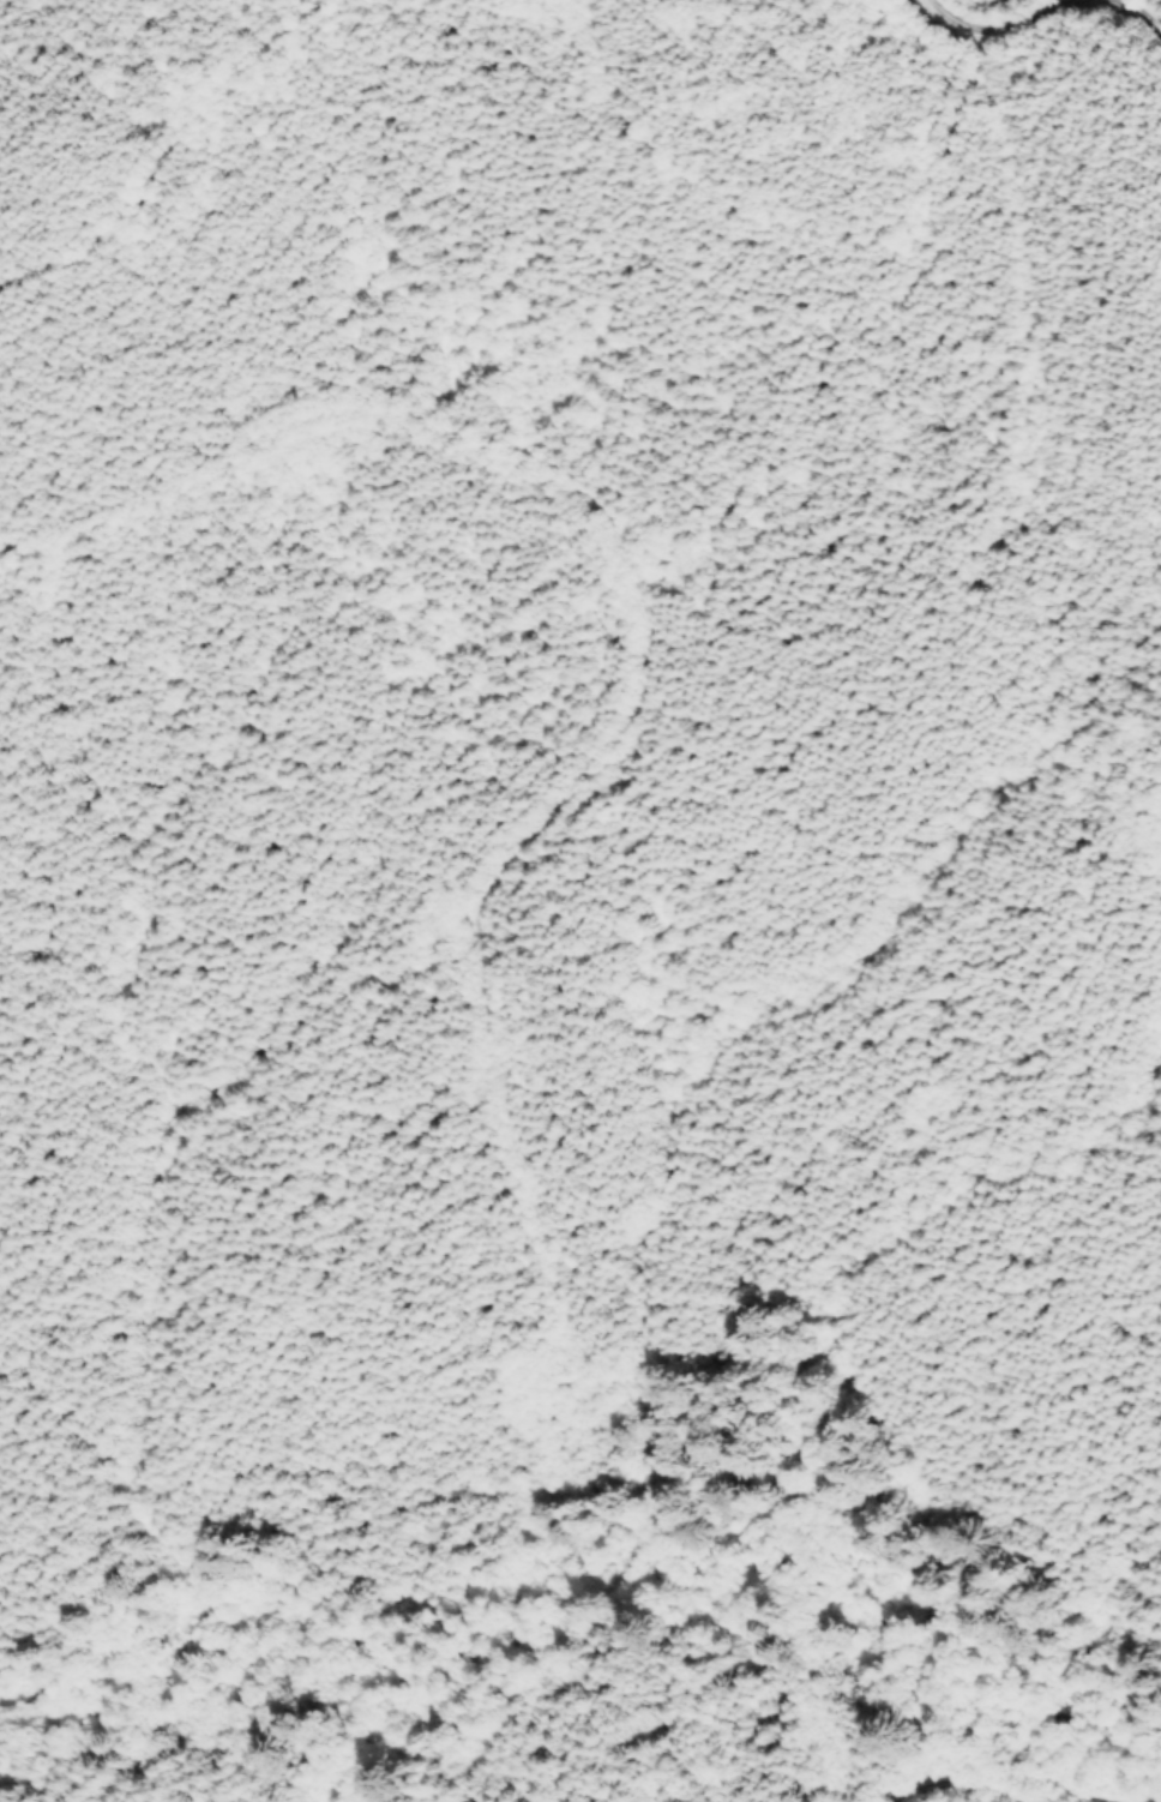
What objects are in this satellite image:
road: (871, 1760)

